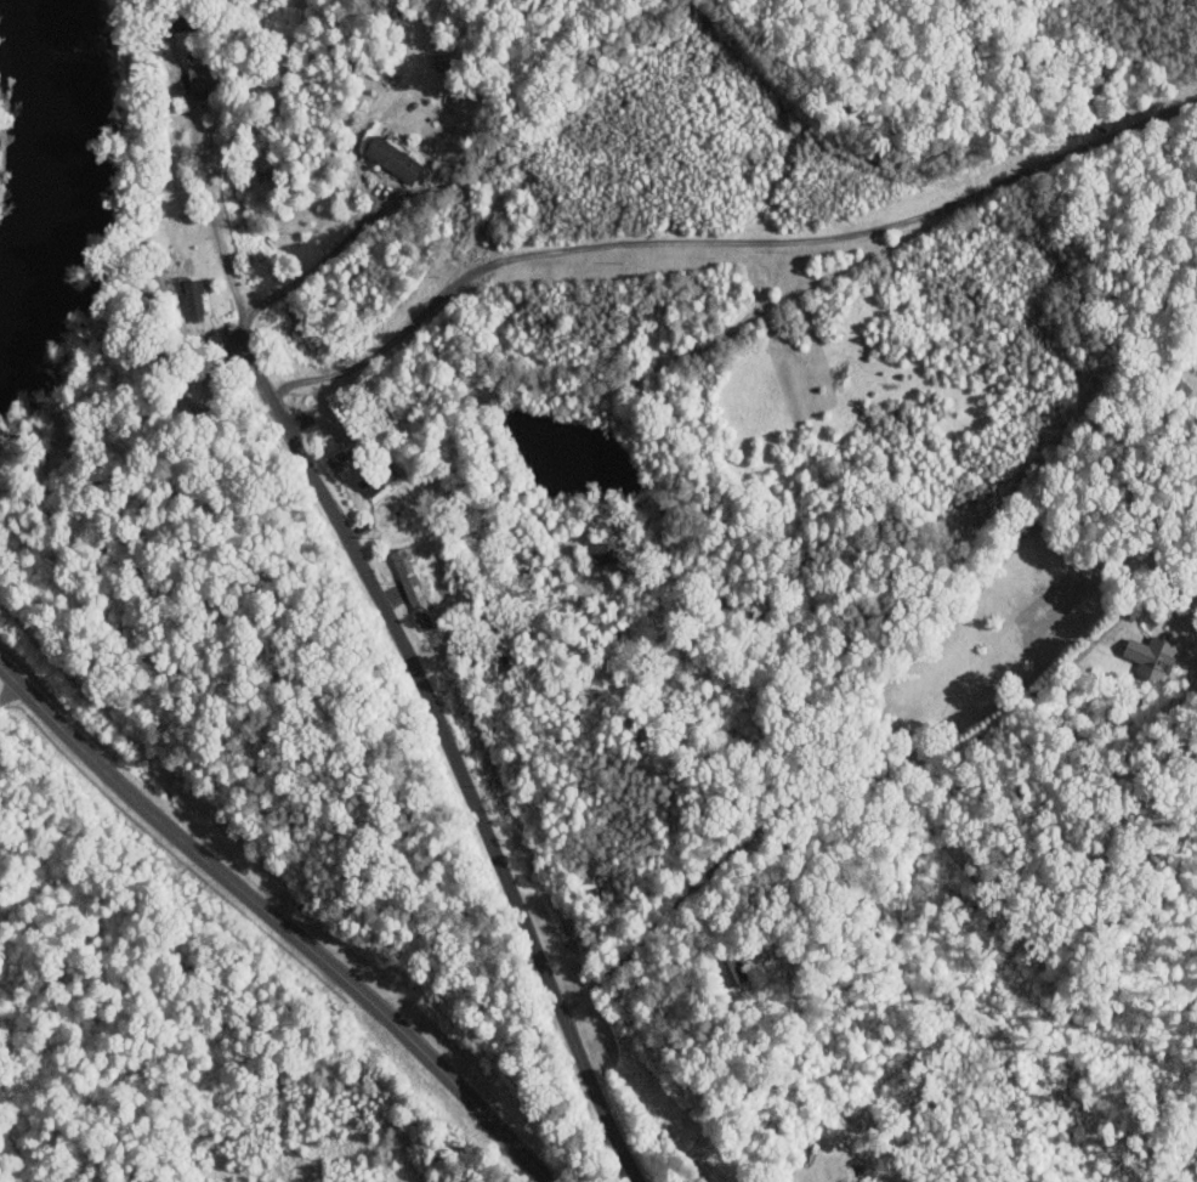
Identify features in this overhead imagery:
building: (441, 61)
building: (199, 74)
building: (392, 159)
river: (69, 191)
road: (215, 211)
road: (724, 239)
road: (318, 261)
building: (193, 301)
road: (208, 373)
parking lot: (205, 397)
road: (131, 414)
building: (378, 477)
building: (603, 550)
building: (405, 571)
building: (421, 613)
building: (1151, 656)
road: (449, 746)
road: (828, 784)
road: (278, 918)

